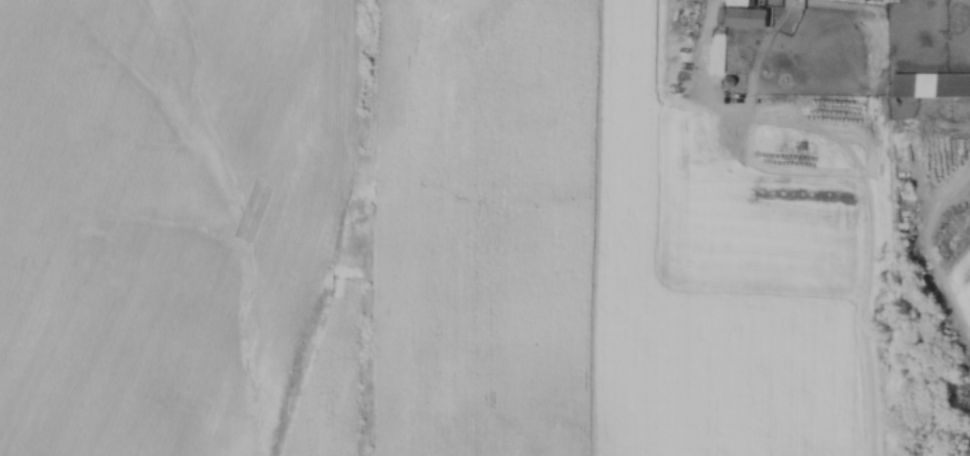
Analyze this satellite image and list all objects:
building: (749, 15)
building: (931, 83)

